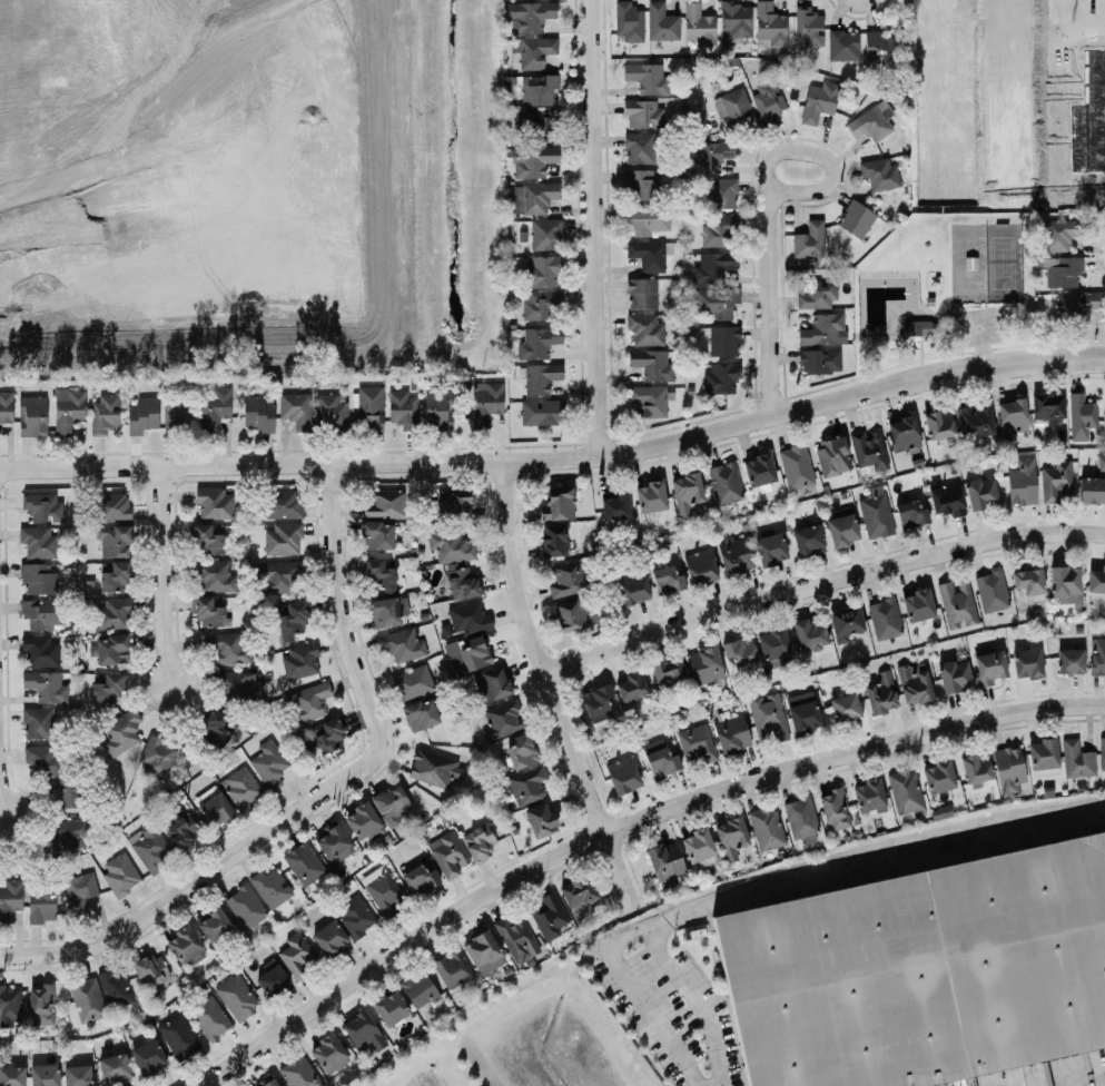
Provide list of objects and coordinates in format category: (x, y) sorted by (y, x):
building: (529, 16)
building: (734, 20)
building: (627, 21)
building: (660, 23)
building: (697, 23)
building: (768, 24)
building: (808, 27)
building: (842, 45)
building: (878, 50)
building: (534, 51)
building: (645, 78)
building: (537, 90)
building: (766, 100)
building: (818, 100)
building: (733, 110)
building: (642, 113)
building: (874, 122)
building: (532, 126)
building: (638, 148)
building: (708, 157)
building: (531, 160)
building: (879, 175)
road: (781, 176)
building: (639, 185)
building: (720, 194)
building: (531, 197)
building: (647, 218)
building: (855, 219)
road: (595, 227)
building: (718, 231)
building: (542, 234)
building: (1057, 235)
building: (808, 240)
building: (647, 254)
building: (711, 266)
building: (541, 271)
building: (1060, 273)
road: (777, 274)
park: (943, 290)
building: (640, 293)
building: (816, 295)
building: (714, 303)
building: (540, 305)
building: (1076, 308)
building: (644, 328)
building: (820, 329)
building: (919, 329)
building: (723, 340)
building: (536, 342)
building: (818, 361)
building: (651, 364)
building: (540, 377)
building: (720, 378)
building: (648, 399)
building: (484, 402)
building: (1047, 405)
building: (6, 407)
building: (401, 407)
building: (213, 408)
building: (294, 408)
building: (365, 408)
building: (67, 409)
building: (329, 412)
building: (174, 413)
building: (257, 413)
building: (437, 413)
building: (541, 413)
building: (103, 414)
building: (141, 414)
building: (31, 416)
building: (1079, 416)
building: (1012, 418)
building: (976, 422)
building: (938, 425)
building: (902, 433)
building: (868, 451)
road: (558, 455)
building: (831, 456)
building: (1101, 462)
building: (795, 466)
building: (758, 470)
building: (1055, 481)
building: (1020, 482)
building: (723, 483)
building: (1091, 490)
building: (688, 493)
building: (980, 493)
building: (650, 496)
building: (946, 501)
building: (213, 503)
building: (452, 503)
building: (558, 503)
building: (280, 504)
building: (383, 504)
building: (109, 506)
building: (613, 506)
building: (40, 507)
building: (874, 513)
building: (911, 513)
building: (841, 529)
building: (375, 535)
building: (209, 537)
building: (280, 539)
building: (807, 540)
building: (37, 541)
building: (114, 541)
building: (553, 541)
building: (453, 546)
building: (770, 549)
building: (736, 555)
building: (700, 567)
building: (211, 574)
building: (377, 575)
building: (276, 576)
building: (115, 577)
building: (37, 579)
building: (667, 579)
building: (565, 580)
building: (1096, 580)
road: (169, 581)
building: (462, 582)
building: (1028, 582)
road: (822, 583)
building: (1065, 584)
building: (633, 589)
building: (990, 591)
building: (956, 603)
building: (917, 605)
building: (111, 613)
building: (206, 613)
building: (383, 613)
building: (41, 614)
building: (571, 614)
building: (467, 618)
building: (884, 619)
building: (292, 622)
building: (846, 622)
building: (809, 633)
building: (772, 643)
building: (401, 644)
building: (227, 646)
road: (542, 648)
building: (111, 650)
road: (359, 650)
building: (39, 651)
building: (738, 651)
building: (1097, 654)
building: (467, 655)
building: (298, 661)
building: (1069, 661)
building: (1027, 664)
building: (704, 665)
building: (989, 668)
building: (667, 672)
building: (955, 677)
building: (411, 682)
building: (914, 683)
building: (490, 684)
building: (45, 685)
building: (235, 687)
building: (630, 687)
building: (107, 689)
building: (880, 694)
building: (598, 700)
building: (307, 702)
building: (843, 708)
building: (420, 714)
building: (803, 715)
building: (500, 719)
building: (767, 719)
building: (37, 723)
building: (213, 723)
building: (120, 732)
building: (731, 734)
building: (326, 735)
road: (2, 741)
building: (697, 742)
building: (519, 750)
building: (1102, 752)
building: (1042, 756)
building: (156, 757)
building: (659, 758)
building: (1075, 759)
building: (45, 761)
building: (268, 764)
building: (434, 769)
building: (976, 769)
building: (1008, 769)
building: (622, 774)
building: (938, 777)
building: (525, 786)
building: (240, 788)
building: (904, 791)
building: (62, 794)
building: (868, 796)
building: (392, 803)
building: (832, 809)
building: (215, 810)
building: (939, 812)
building: (799, 817)
building: (361, 820)
building: (541, 820)
road: (622, 826)
building: (766, 828)
building: (180, 832)
building: (67, 835)
building: (732, 839)
building: (478, 841)
building: (333, 845)
building: (698, 846)
building: (149, 848)
building: (447, 855)
road: (874, 857)
building: (664, 860)
building: (303, 863)
road: (625, 872)
building: (118, 873)
building: (418, 878)
building: (269, 887)
building: (78, 890)
building: (382, 892)
building: (578, 892)
building: (9, 897)
building: (41, 905)
road: (166, 906)
building: (244, 907)
building: (353, 916)
building: (549, 916)
building: (213, 925)
building: (329, 939)
building: (515, 939)
building: (182, 945)
building: (481, 949)
building: (295, 955)
building: (451, 968)
building: (148, 970)
building: (920, 971)
building: (272, 980)
road: (623, 981)
building: (114, 987)
building: (417, 988)
building: (236, 997)
building: (86, 999)
building: (9, 1003)
building: (40, 1004)
building: (388, 1006)
road: (697, 1006)
building: (208, 1017)
building: (362, 1031)
building: (177, 1036)
building: (327, 1053)
building: (147, 1057)
building: (112, 1068)
building: (297, 1073)
building: (43, 1075)
building: (11, 1076)
building: (76, 1076)
building: (266, 1082)
road: (1104, 1085)

